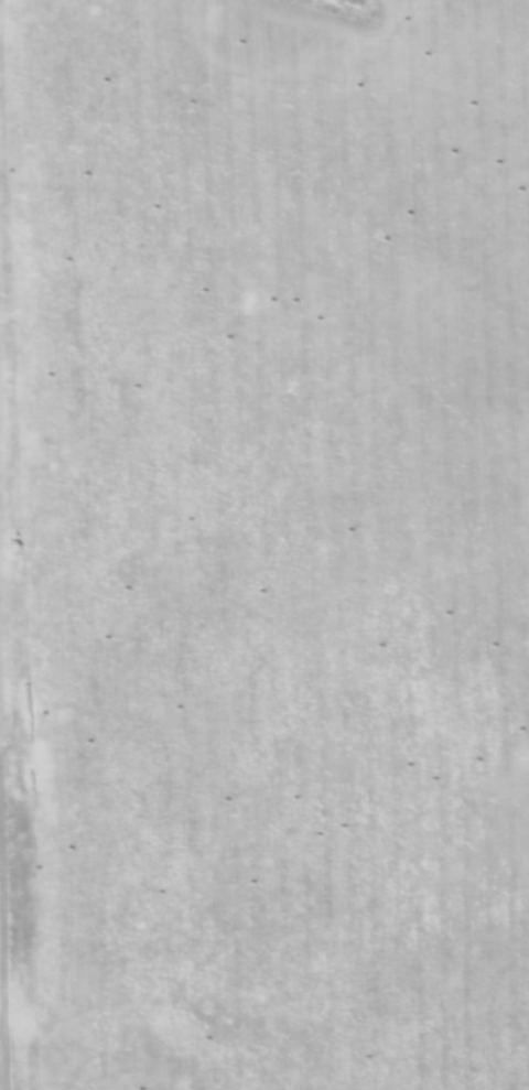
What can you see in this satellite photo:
road: (1, 1012)

